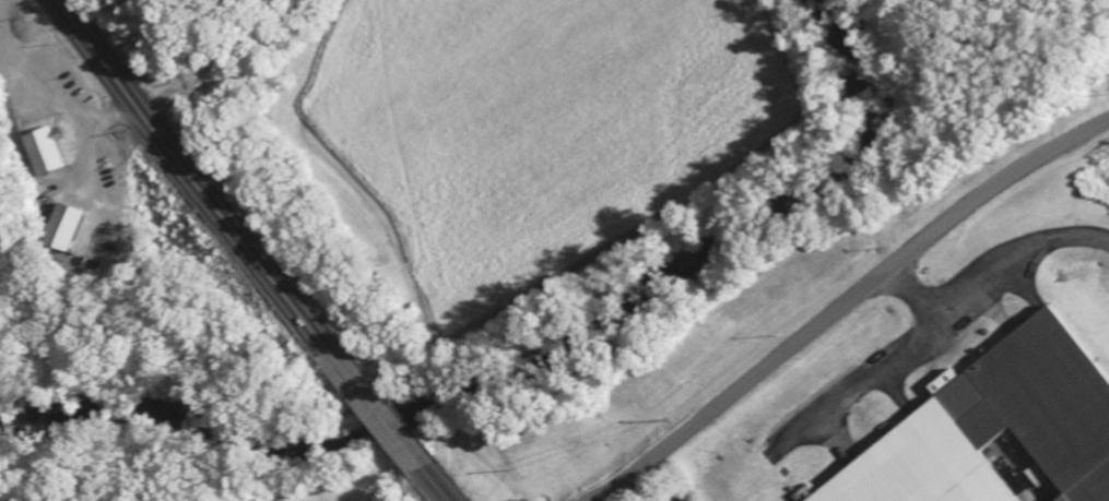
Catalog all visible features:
building: (45, 150)
building: (70, 227)
road: (252, 250)
road: (850, 303)
building: (996, 431)
building: (807, 492)

